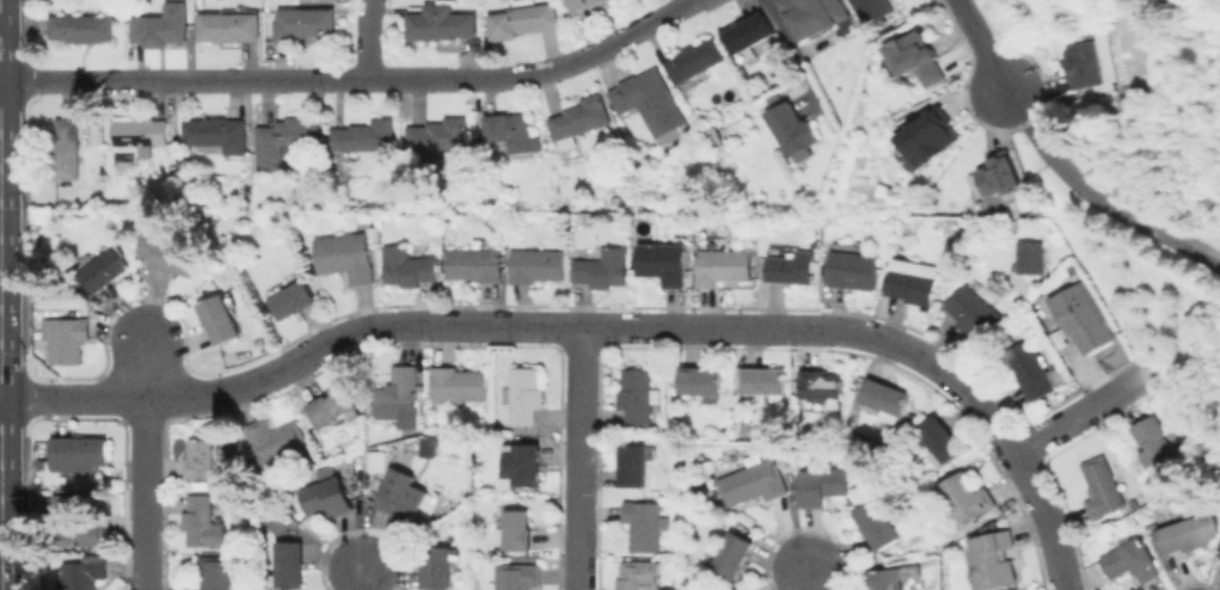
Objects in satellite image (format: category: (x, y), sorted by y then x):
building: (606, 0)
building: (582, 4)
building: (872, 10)
building: (816, 16)
building: (522, 19)
building: (440, 20)
building: (304, 23)
building: (228, 25)
building: (82, 26)
building: (159, 27)
building: (747, 33)
road: (367, 37)
road: (789, 49)
road: (983, 49)
building: (694, 59)
building: (915, 61)
building: (1085, 64)
road: (355, 76)
building: (650, 103)
building: (580, 118)
building: (792, 129)
building: (509, 130)
building: (217, 131)
building: (142, 133)
building: (439, 134)
building: (364, 135)
building: (925, 137)
building: (284, 139)
building: (67, 149)
building: (999, 179)
road: (1097, 202)
rooftop solar panel: (958, 232)
building: (173, 256)
building: (347, 256)
building: (1032, 259)
building: (664, 262)
building: (476, 264)
building: (537, 265)
building: (723, 265)
building: (407, 266)
building: (792, 266)
building: (603, 268)
building: (852, 269)
building: (106, 272)
building: (912, 285)
road: (1105, 291)
building: (293, 299)
building: (975, 311)
building: (219, 318)
building: (1080, 319)
road: (453, 325)
building: (67, 338)
building: (1031, 369)
building: (700, 380)
building: (765, 381)
building: (459, 383)
building: (822, 386)
building: (398, 394)
building: (525, 394)
road: (974, 395)
building: (638, 398)
building: (885, 398)
building: (790, 399)
building: (332, 405)
road: (1081, 416)
building: (942, 438)
building: (276, 440)
building: (1153, 440)
building: (424, 445)
building: (81, 453)
road: (580, 457)
building: (202, 459)
road: (143, 460)
building: (375, 460)
building: (526, 463)
building: (634, 466)
building: (753, 481)
building: (822, 485)
building: (1101, 487)
building: (327, 492)
building: (967, 497)
building: (401, 502)
road: (1048, 520)
building: (76, 521)
building: (203, 522)
building: (876, 524)
building: (644, 526)
building: (519, 529)
building: (1188, 534)
building: (734, 555)
building: (1218, 555)
building: (995, 558)
building: (1132, 560)
building: (289, 564)
building: (439, 569)
building: (85, 572)
building: (215, 573)
road: (819, 573)
building: (638, 574)
road: (360, 576)
building: (517, 576)
building: (885, 579)
building: (746, 589)
building: (752, 589)

